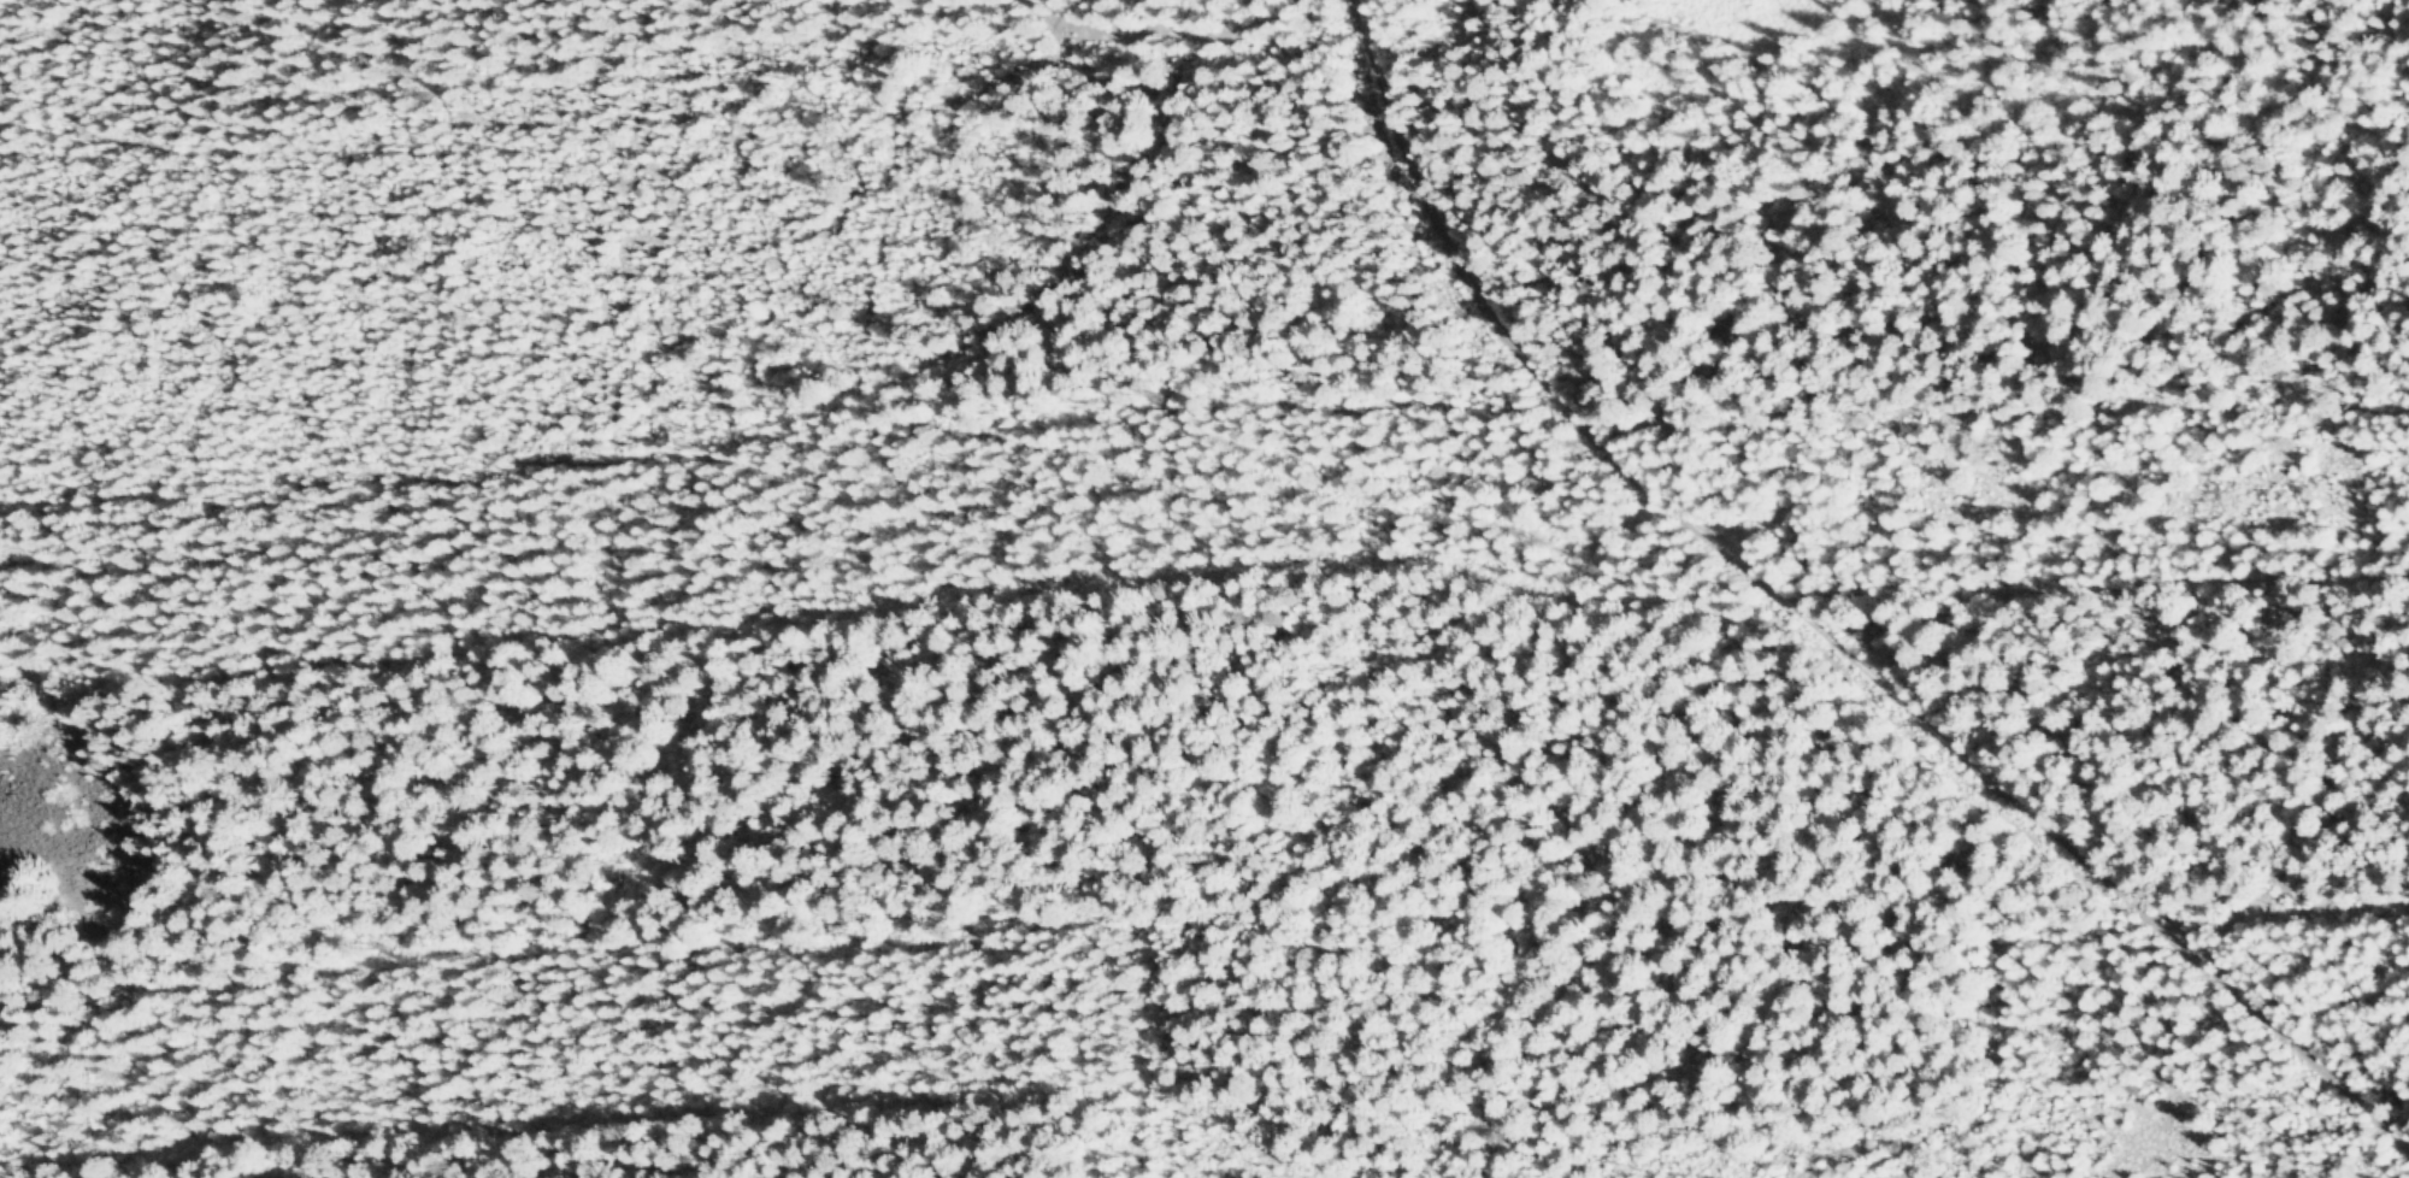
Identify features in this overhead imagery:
road: (1812, 629)

